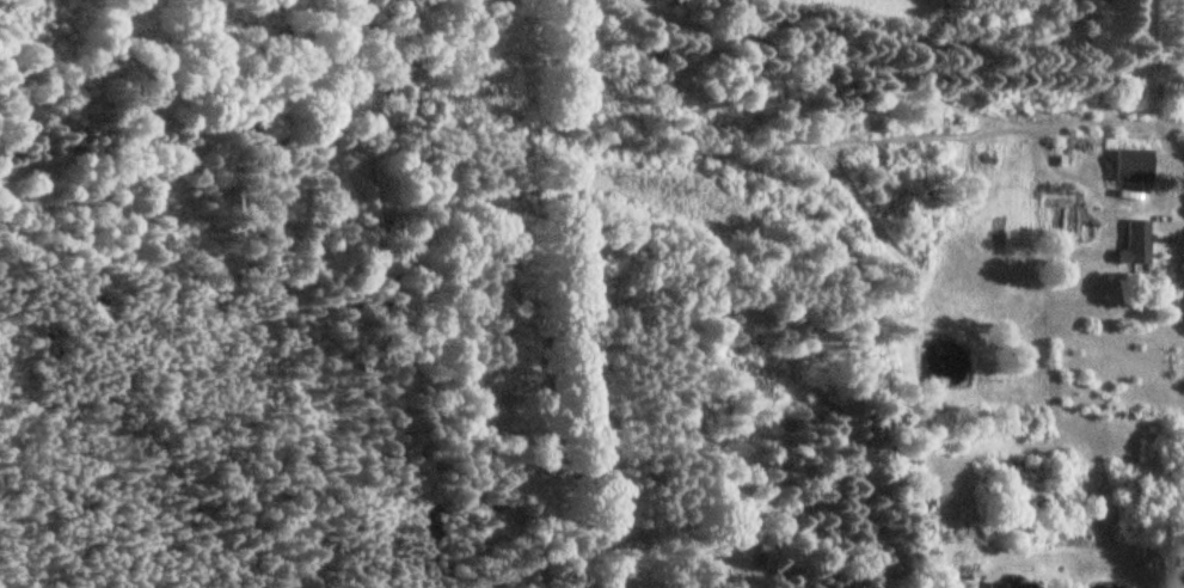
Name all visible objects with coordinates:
building: (1131, 166)
building: (1135, 244)
building: (1007, 586)

